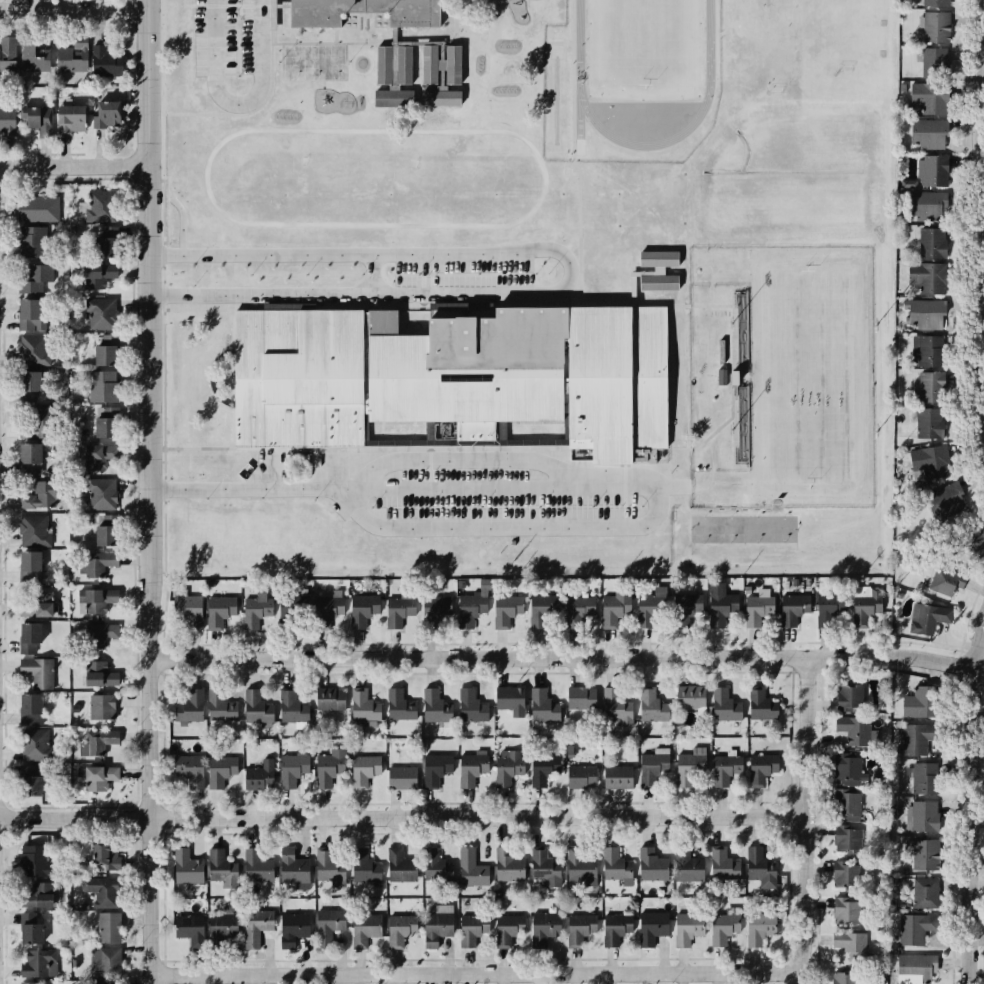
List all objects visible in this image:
building: (934, 2)
road: (232, 5)
road: (74, 8)
road: (132, 10)
road: (240, 14)
road: (260, 14)
building: (413, 17)
building: (934, 27)
park: (642, 46)
park: (803, 46)
building: (73, 52)
building: (8, 53)
building: (33, 54)
building: (109, 58)
park: (314, 62)
building: (429, 63)
building: (933, 63)
building: (381, 64)
building: (405, 64)
building: (453, 64)
road: (147, 82)
building: (929, 96)
building: (441, 97)
road: (237, 101)
building: (105, 110)
building: (27, 117)
building: (66, 117)
building: (6, 121)
building: (927, 134)
road: (73, 164)
building: (931, 173)
park: (358, 174)
building: (923, 205)
building: (100, 206)
building: (34, 209)
building: (929, 243)
building: (25, 246)
road: (163, 255)
building: (100, 259)
road: (568, 268)
building: (656, 271)
road: (368, 273)
building: (924, 277)
building: (34, 280)
road: (422, 280)
road: (431, 281)
road: (427, 289)
road: (983, 289)
road: (423, 293)
building: (654, 293)
road: (163, 295)
building: (289, 306)
building: (99, 313)
building: (32, 314)
building: (923, 315)
building: (29, 350)
building: (925, 351)
building: (99, 353)
building: (451, 374)
stadium: (781, 376)
park: (806, 377)
building: (27, 384)
building: (97, 387)
building: (928, 389)
building: (34, 419)
building: (209, 422)
building: (108, 423)
building: (928, 423)
building: (96, 426)
building: (28, 451)
building: (94, 456)
building: (931, 459)
road: (454, 462)
road: (430, 464)
road: (624, 486)
road: (423, 487)
road: (164, 489)
building: (100, 493)
building: (41, 495)
building: (946, 495)
road: (508, 528)
park: (743, 529)
building: (32, 531)
building: (98, 534)
building: (973, 535)
building: (27, 561)
building: (97, 563)
road: (148, 574)
building: (945, 579)
building: (94, 594)
building: (437, 602)
building: (37, 604)
building: (328, 604)
building: (717, 604)
building: (468, 606)
building: (684, 606)
building: (187, 607)
building: (499, 607)
building: (757, 607)
building: (218, 608)
building: (864, 608)
building: (823, 609)
building: (253, 610)
building: (535, 610)
building: (361, 611)
building: (395, 611)
building: (576, 611)
building: (791, 611)
building: (613, 612)
building: (644, 612)
building: (290, 616)
building: (926, 616)
building: (28, 636)
building: (96, 637)
road: (564, 655)
building: (37, 672)
building: (90, 674)
building: (687, 692)
building: (579, 694)
building: (539, 695)
building: (328, 696)
building: (508, 696)
building: (189, 697)
building: (850, 699)
building: (429, 702)
building: (650, 702)
building: (27, 703)
building: (288, 703)
building: (253, 704)
building: (360, 704)
building: (396, 704)
building: (469, 705)
building: (723, 705)
building: (759, 705)
building: (101, 706)
building: (917, 707)
building: (220, 708)
building: (619, 714)
building: (853, 736)
building: (96, 739)
building: (915, 740)
building: (33, 742)
building: (649, 762)
building: (433, 766)
building: (189, 767)
building: (288, 767)
building: (507, 767)
building: (760, 767)
building: (847, 768)
building: (219, 769)
building: (469, 769)
building: (687, 770)
building: (722, 770)
building: (325, 771)
building: (539, 771)
building: (363, 772)
building: (400, 772)
building: (257, 774)
building: (578, 774)
building: (617, 775)
building: (94, 776)
building: (925, 779)
building: (28, 785)
building: (850, 803)
road: (976, 813)
road: (405, 816)
road: (0, 817)
building: (921, 817)
road: (811, 819)
building: (841, 836)
building: (100, 854)
building: (923, 856)
building: (28, 859)
building: (650, 859)
building: (435, 862)
building: (721, 862)
building: (218, 863)
building: (363, 864)
building: (395, 864)
building: (614, 864)
building: (541, 865)
building: (688, 865)
building: (183, 866)
building: (758, 867)
building: (297, 868)
building: (329, 868)
building: (470, 868)
building: (509, 868)
building: (251, 869)
building: (839, 870)
building: (580, 872)
building: (34, 894)
building: (103, 894)
building: (921, 894)
building: (843, 912)
building: (257, 920)
building: (221, 922)
building: (328, 922)
building: (545, 922)
building: (292, 923)
building: (188, 925)
building: (648, 925)
building: (507, 926)
building: (576, 926)
building: (107, 927)
building: (757, 927)
building: (27, 928)
building: (363, 928)
building: (399, 928)
building: (434, 928)
building: (471, 928)
building: (613, 928)
building: (686, 928)
building: (911, 928)
building: (721, 929)
building: (850, 939)
building: (104, 961)
building: (39, 962)
building: (912, 969)
road: (482, 971)
building: (844, 976)
building: (31, 982)
building: (105, 983)

